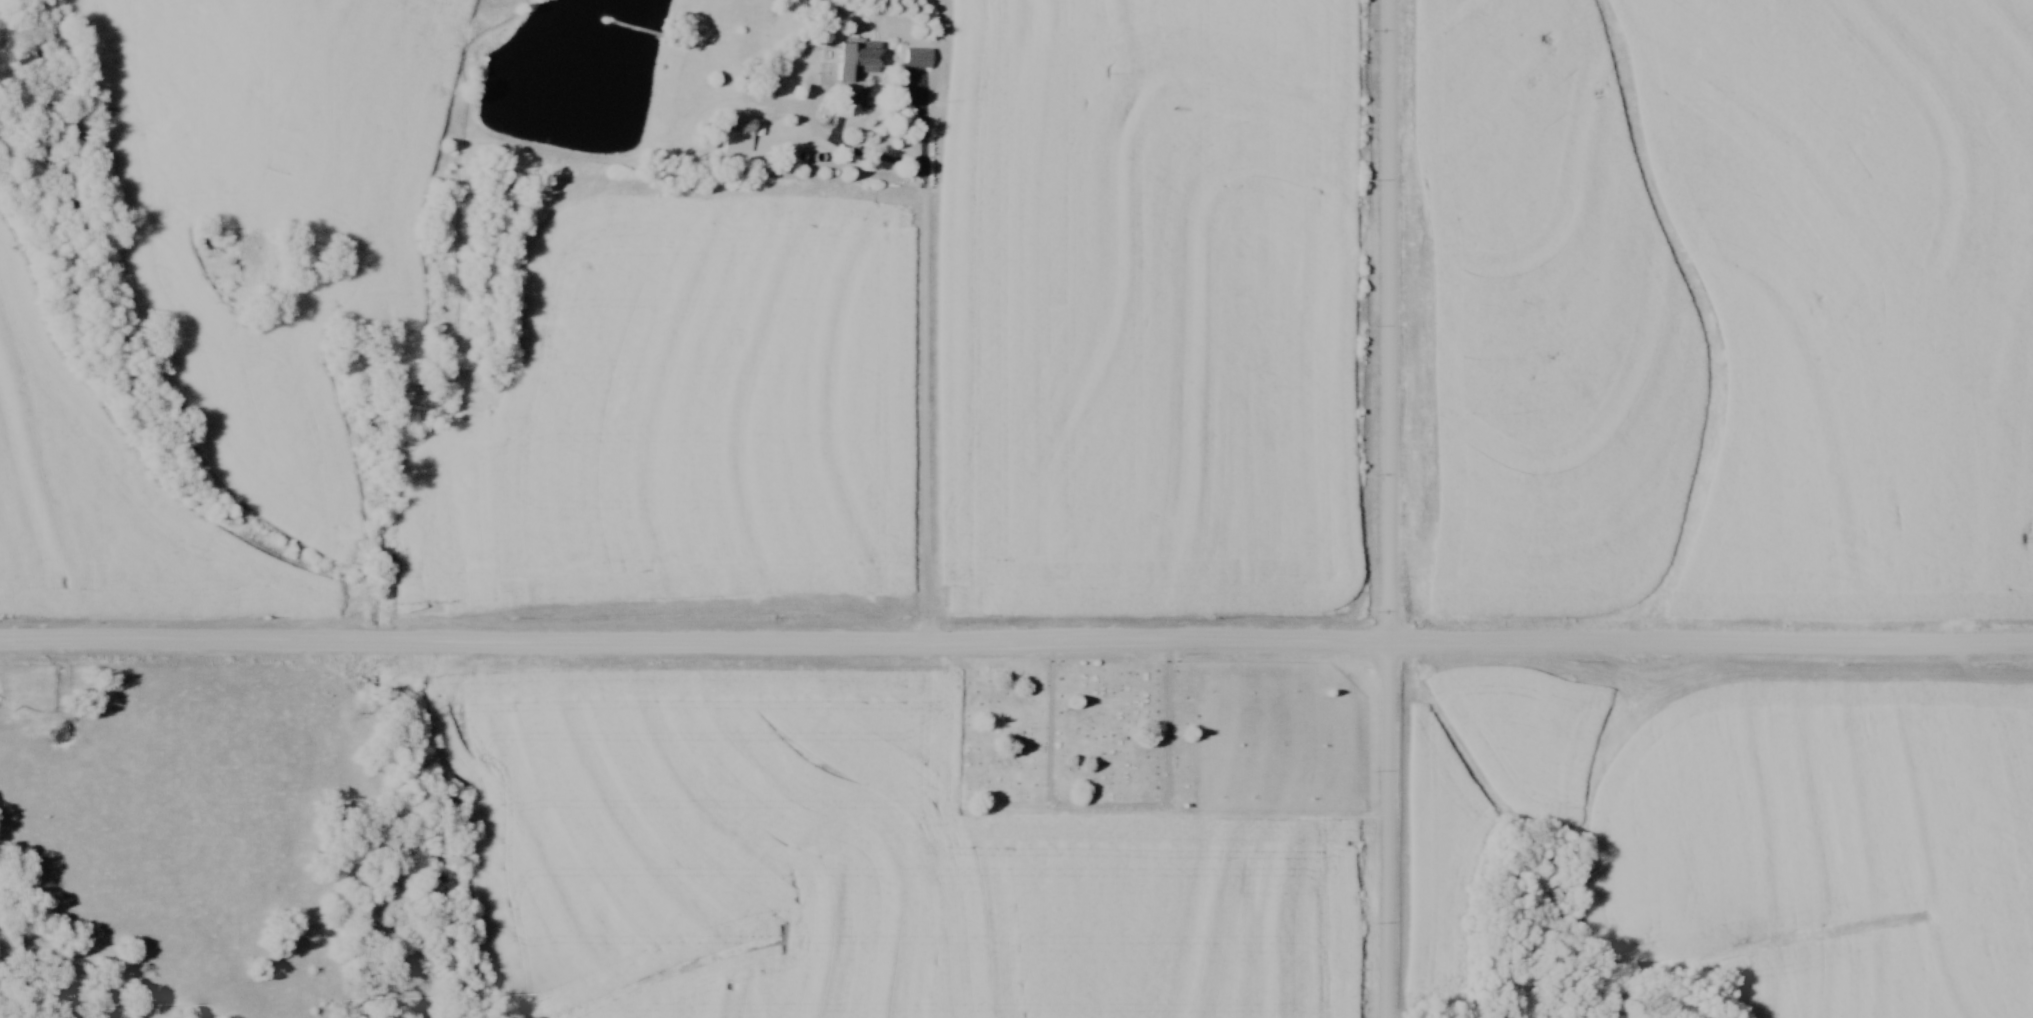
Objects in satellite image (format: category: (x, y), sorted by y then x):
road: (1390, 23)
building: (853, 57)
building: (919, 57)
road: (925, 269)
road: (1389, 532)
road: (1016, 646)

